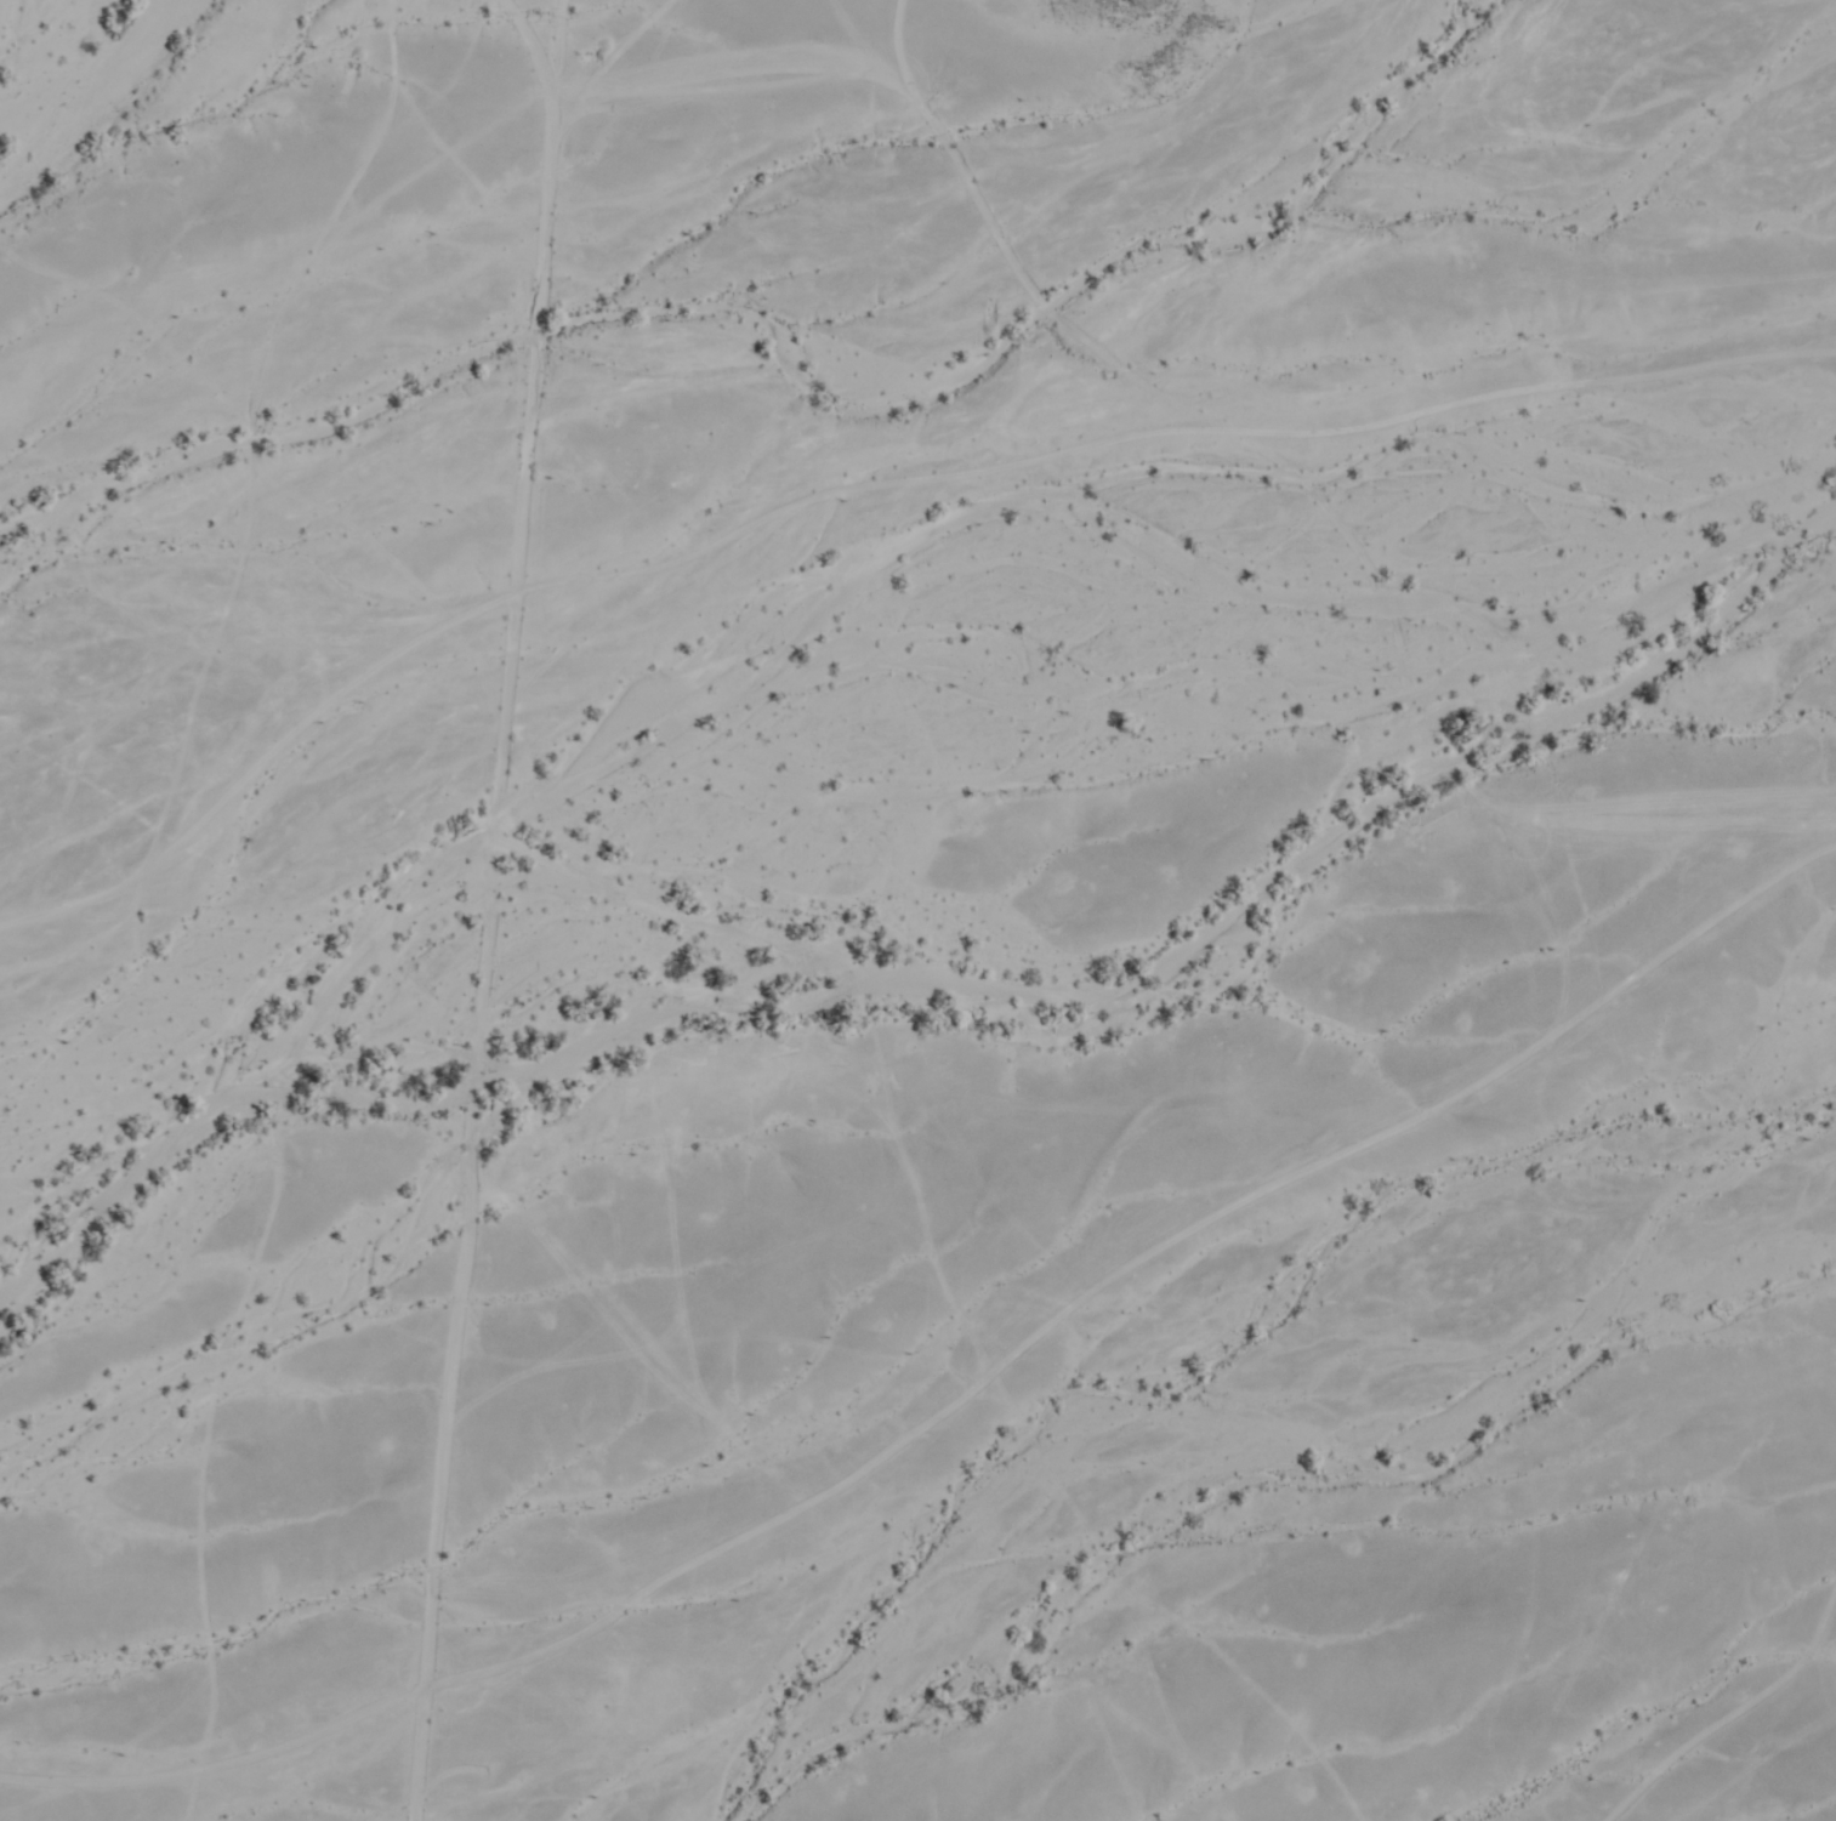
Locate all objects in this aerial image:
road: (532, 46)
road: (489, 910)

